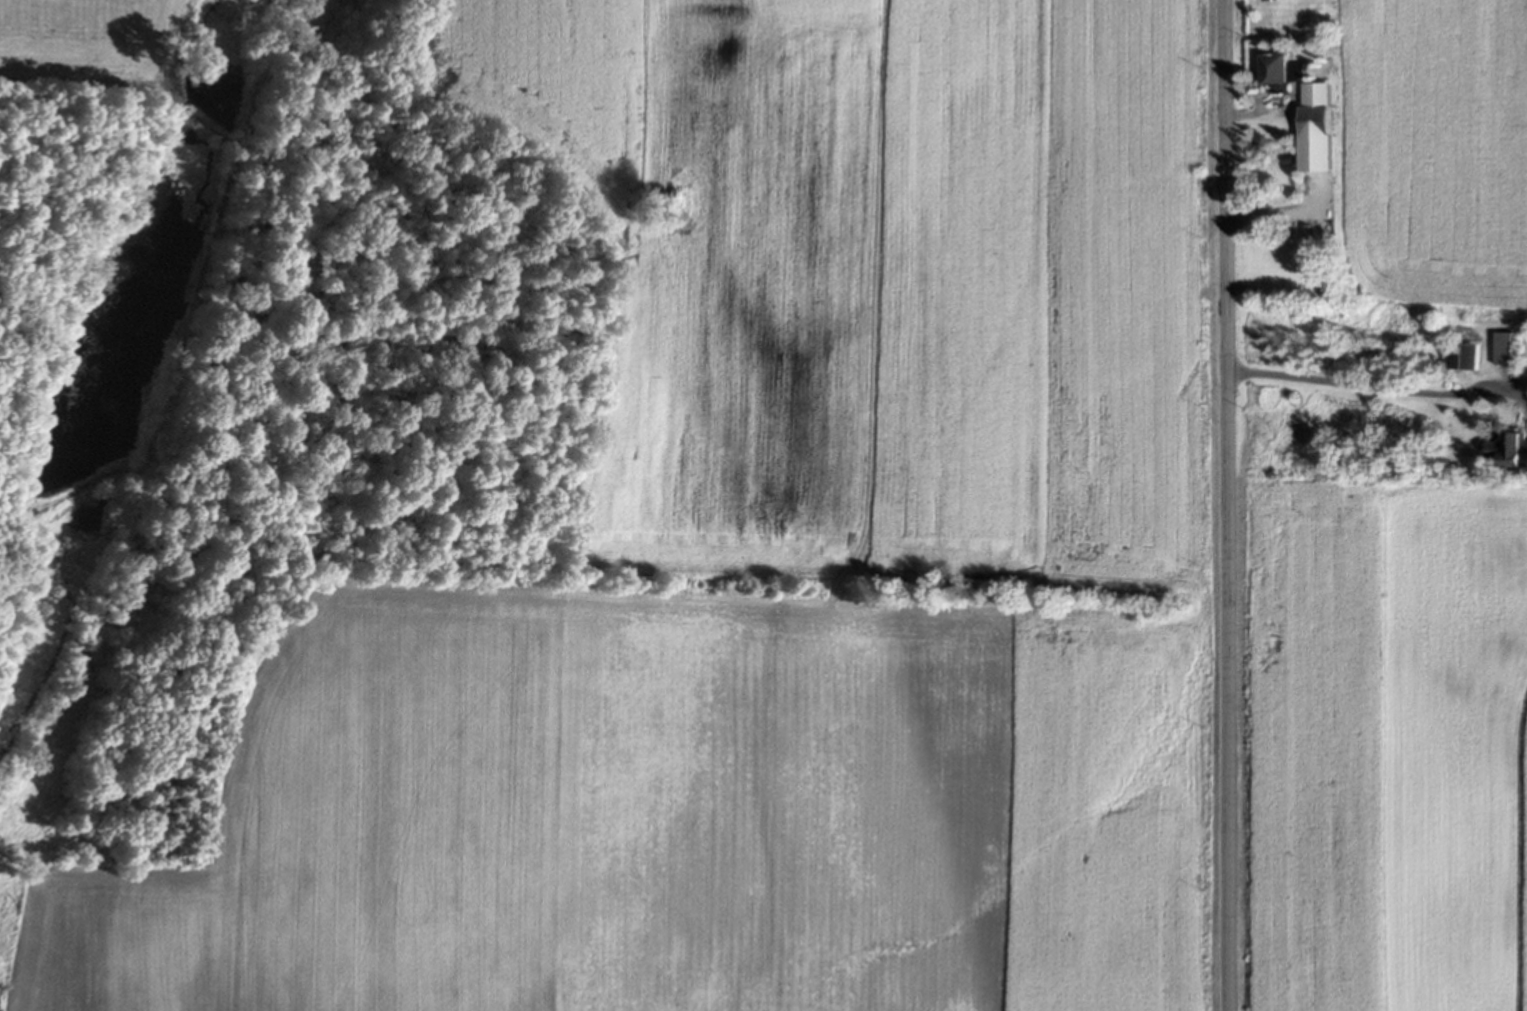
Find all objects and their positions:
building: (1277, 69)
building: (1312, 127)
building: (1502, 350)
building: (1462, 358)
road: (1378, 388)
building: (1508, 451)
road: (1229, 505)

